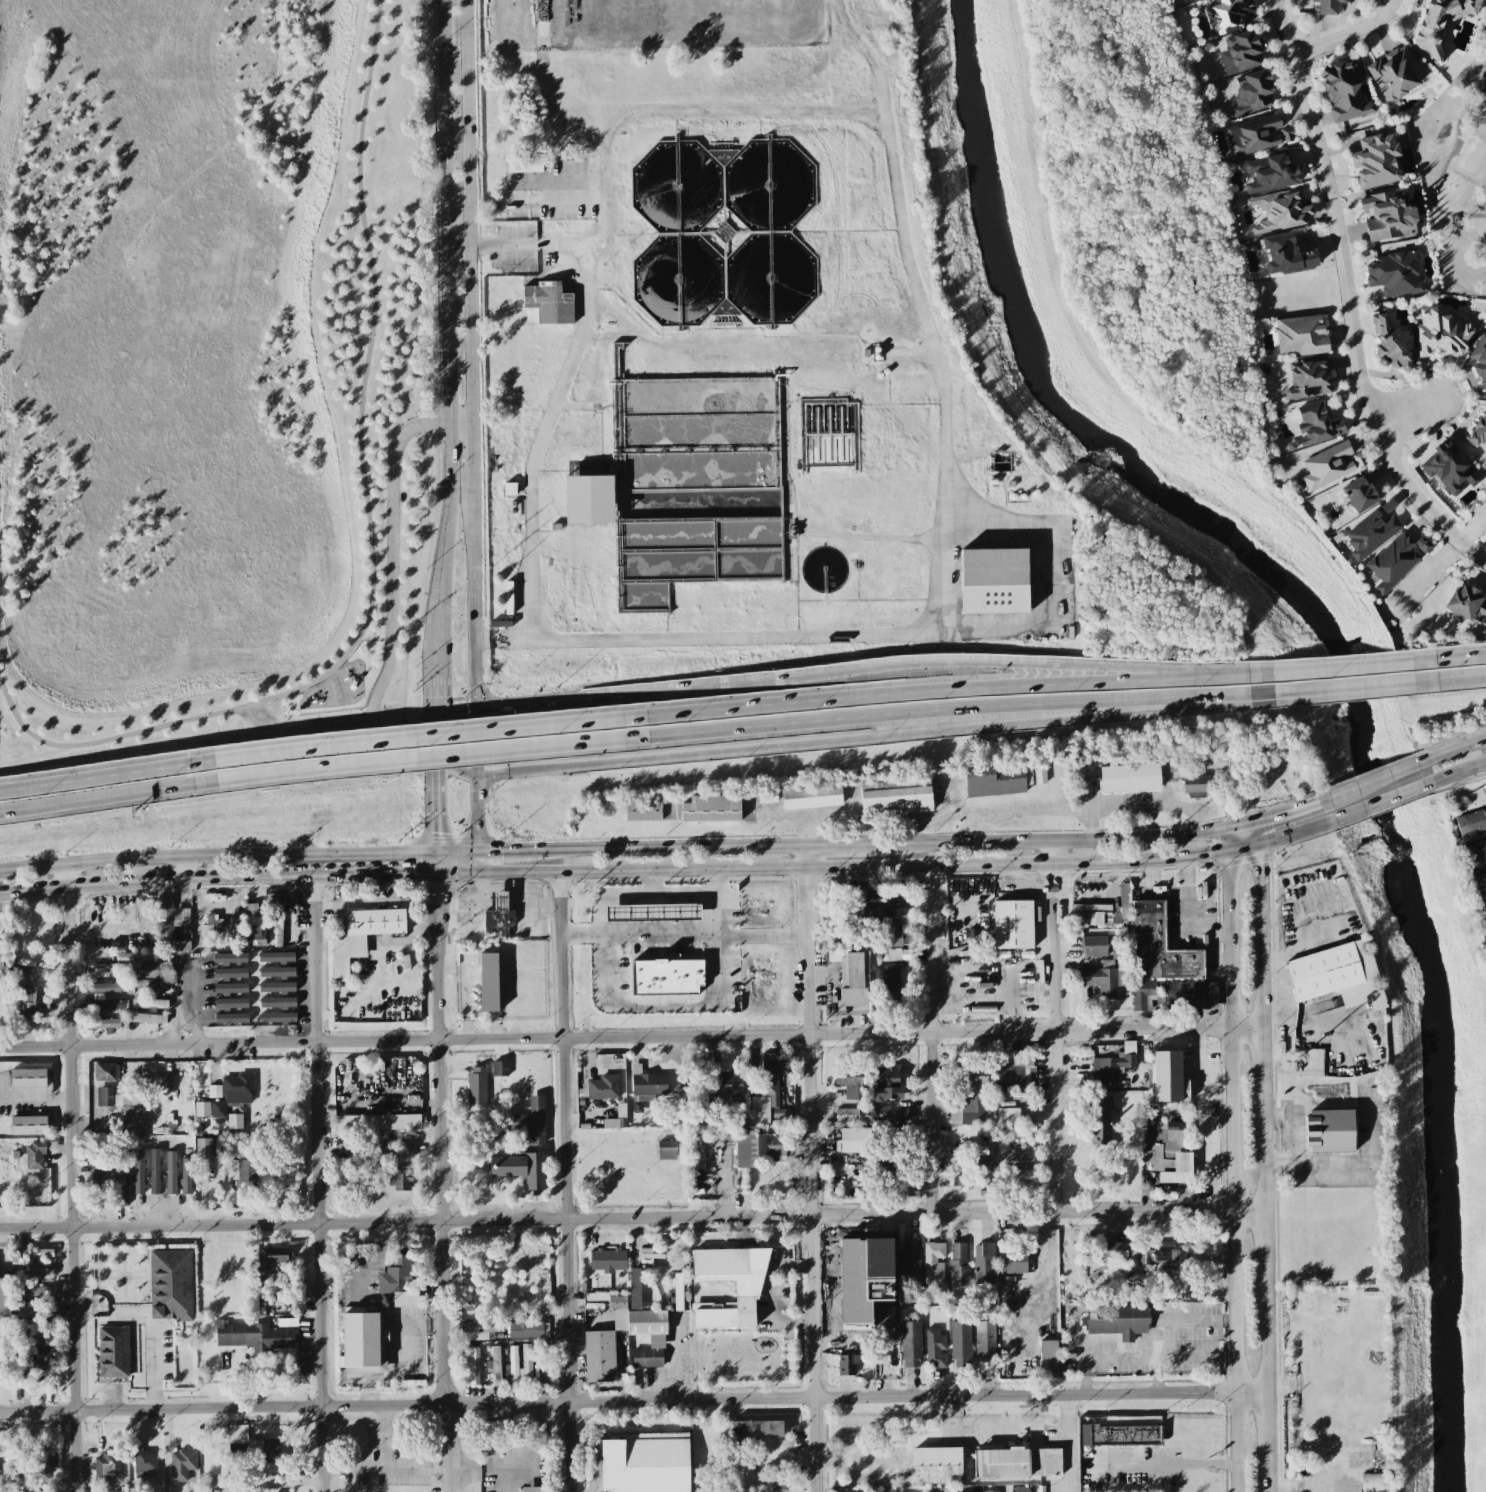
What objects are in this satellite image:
road: (759, 4)
building: (1328, 6)
building: (1229, 15)
road: (545, 21)
building: (1440, 21)
road: (1344, 35)
road: (561, 42)
building: (1240, 53)
road: (868, 59)
building: (1393, 74)
building: (1344, 91)
building: (1252, 93)
building: (1287, 134)
building: (1254, 135)
building: (1375, 161)
building: (524, 165)
park: (1452, 171)
building: (1270, 173)
building: (1279, 211)
road: (468, 213)
building: (1387, 216)
road: (502, 245)
road: (458, 246)
building: (1286, 254)
building: (1395, 274)
road: (447, 298)
building: (549, 303)
road: (1343, 303)
building: (1443, 333)
building: (1300, 335)
building: (1392, 343)
building: (1480, 359)
park: (214, 375)
building: (1308, 379)
wastewater plant: (733, 381)
road: (1404, 410)
road: (546, 424)
building: (1317, 424)
road: (461, 427)
building: (1478, 431)
road: (472, 462)
building: (1331, 465)
building: (1484, 465)
building: (1449, 469)
road: (462, 478)
road: (945, 487)
building: (509, 489)
building: (1359, 494)
building: (589, 499)
road: (368, 526)
building: (1370, 534)
building: (1422, 544)
building: (1393, 563)
road: (941, 572)
building: (994, 581)
road: (389, 598)
building: (1466, 605)
road: (436, 631)
road: (475, 635)
road: (1460, 653)
road: (1341, 662)
road: (1001, 664)
road: (1224, 671)
road: (1461, 678)
river: (1337, 683)
road: (703, 686)
road: (435, 689)
road: (1344, 690)
road: (923, 692)
road: (540, 701)
traffic signals: (477, 707)
road: (456, 709)
traffic signals: (435, 712)
road: (278, 715)
road: (950, 719)
road: (432, 733)
road: (434, 737)
road: (713, 747)
road: (1451, 750)
road: (434, 756)
building: (1174, 761)
road: (455, 768)
road: (108, 772)
railway: (743, 773)
building: (1040, 773)
traffic signals: (477, 775)
road: (1455, 775)
building: (1130, 778)
building: (994, 781)
road: (1373, 781)
building: (1196, 785)
road: (109, 796)
building: (767, 796)
building: (811, 797)
road: (1380, 803)
road: (434, 807)
building: (711, 808)
building: (643, 810)
road: (478, 814)
traffic signals: (1273, 819)
building: (1472, 823)
road: (1257, 835)
traffic signals: (434, 836)
road: (1105, 840)
road: (842, 846)
road: (670, 849)
building: (1475, 849)
traffic signals: (494, 852)
road: (505, 852)
road: (1049, 852)
road: (456, 853)
traffic signals: (1209, 855)
road: (1195, 856)
road: (216, 857)
road: (434, 862)
road: (471, 862)
traffic signals: (1259, 862)
building: (1485, 863)
road: (194, 868)
road: (765, 869)
road: (394, 872)
traffic signals: (415, 872)
road: (449, 872)
road: (472, 872)
building: (1480, 877)
road: (176, 879)
road: (1259, 879)
road: (480, 880)
road: (718, 883)
road: (650, 884)
road: (451, 887)
road: (501, 888)
road: (435, 891)
road: (1155, 891)
road: (865, 895)
road: (659, 897)
traffic signals: (442, 899)
building: (1483, 900)
building: (497, 902)
road: (528, 902)
road: (462, 903)
road: (437, 906)
building: (165, 907)
building: (1103, 911)
building: (652, 912)
road: (1187, 912)
building: (181, 917)
building: (254, 923)
building: (906, 923)
building: (1013, 924)
building: (212, 926)
building: (497, 927)
building: (277, 930)
building: (362, 936)
road: (684, 936)
building: (906, 938)
building: (893, 939)
road: (1310, 945)
building: (1094, 946)
building: (1160, 947)
building: (899, 954)
road: (1273, 956)
building: (276, 957)
building: (1, 959)
building: (108, 968)
building: (155, 969)
road: (1262, 969)
building: (277, 972)
building: (230, 973)
building: (1108, 973)
building: (850, 975)
building: (1337, 975)
building: (666, 977)
building: (488, 982)
building: (891, 983)
building: (107, 987)
building: (149, 987)
building: (277, 987)
building: (230, 988)
building: (25, 994)
building: (1142, 995)
building: (1191, 995)
building: (277, 1002)
building: (149, 1003)
building: (231, 1003)
building: (106, 1004)
road: (659, 1005)
building: (277, 1017)
building: (147, 1018)
building: (231, 1018)
building: (101, 1022)
road: (630, 1037)
road: (933, 1038)
road: (1055, 1050)
road: (1293, 1054)
road: (1260, 1060)
building: (1307, 1061)
building: (1113, 1065)
building: (500, 1068)
building: (106, 1071)
building: (1014, 1071)
building: (977, 1075)
building: (1168, 1077)
building: (28, 1078)
building: (849, 1082)
building: (477, 1085)
building: (770, 1085)
building: (887, 1085)
building: (603, 1087)
building: (727, 1089)
building: (230, 1093)
building: (104, 1096)
road: (35, 1100)
building: (202, 1109)
building: (972, 1109)
building: (781, 1113)
building: (130, 1114)
building: (846, 1115)
building: (897, 1115)
building: (1007, 1116)
building: (760, 1117)
building: (531, 1120)
building: (234, 1121)
building: (1099, 1121)
building: (377, 1122)
building: (28, 1125)
building: (1330, 1131)
road: (1288, 1135)
building: (855, 1140)
building: (203, 1149)
building: (758, 1149)
road: (1261, 1149)
building: (403, 1150)
building: (666, 1150)
building: (969, 1150)
building: (35, 1154)
building: (1170, 1155)
road: (442, 1157)
building: (1018, 1161)
road: (1229, 1161)
building: (971, 1166)
road: (1365, 1166)
building: (521, 1168)
road: (812, 1169)
building: (154, 1171)
building: (170, 1172)
building: (138, 1173)
building: (186, 1176)
road: (72, 1177)
building: (96, 1178)
building: (969, 1179)
building: (399, 1181)
road: (565, 1181)
road: (321, 1182)
building: (120, 1183)
building: (96, 1199)
road: (1162, 1208)
road: (531, 1218)
road: (1262, 1241)
building: (1143, 1252)
building: (649, 1254)
building: (271, 1259)
building: (608, 1260)
building: (1013, 1261)
building: (934, 1262)
building: (983, 1263)
building: (910, 1264)
building: (959, 1266)
road: (1050, 1267)
building: (32, 1273)
building: (398, 1282)
building: (171, 1284)
building: (634, 1288)
building: (749, 1289)
building: (4, 1297)
building: (617, 1301)
building: (36, 1302)
building: (465, 1305)
building: (1116, 1320)
building: (646, 1322)
building: (480, 1329)
building: (525, 1329)
road: (1263, 1332)
building: (255, 1336)
building: (985, 1341)
building: (363, 1343)
building: (911, 1344)
building: (960, 1344)
building: (935, 1349)
building: (113, 1352)
building: (599, 1356)
building: (647, 1357)
building: (1048, 1357)
building: (40, 1359)
building: (541, 1362)
building: (513, 1364)
building: (526, 1364)
building: (847, 1364)
building: (471, 1365)
building: (494, 1366)
building: (2, 1372)
road: (1279, 1388)
road: (1164, 1391)
road: (532, 1402)
road: (1264, 1422)
building: (756, 1431)
building: (1120, 1435)
road: (1065, 1442)
building: (256, 1444)
road: (453, 1446)
road: (904, 1458)
building: (42, 1460)
building: (144, 1461)
building: (646, 1463)
building: (1018, 1463)
building: (1371, 1463)
building: (1, 1464)
building: (182, 1464)
building: (937, 1465)
building: (107, 1466)
road: (1180, 1466)
road: (387, 1469)
road: (405, 1469)
road: (1266, 1473)
building: (778, 1480)
road: (1295, 1487)
building: (533, 1489)
building: (1021, 1489)
building: (119, 1491)
building: (991, 1491)

